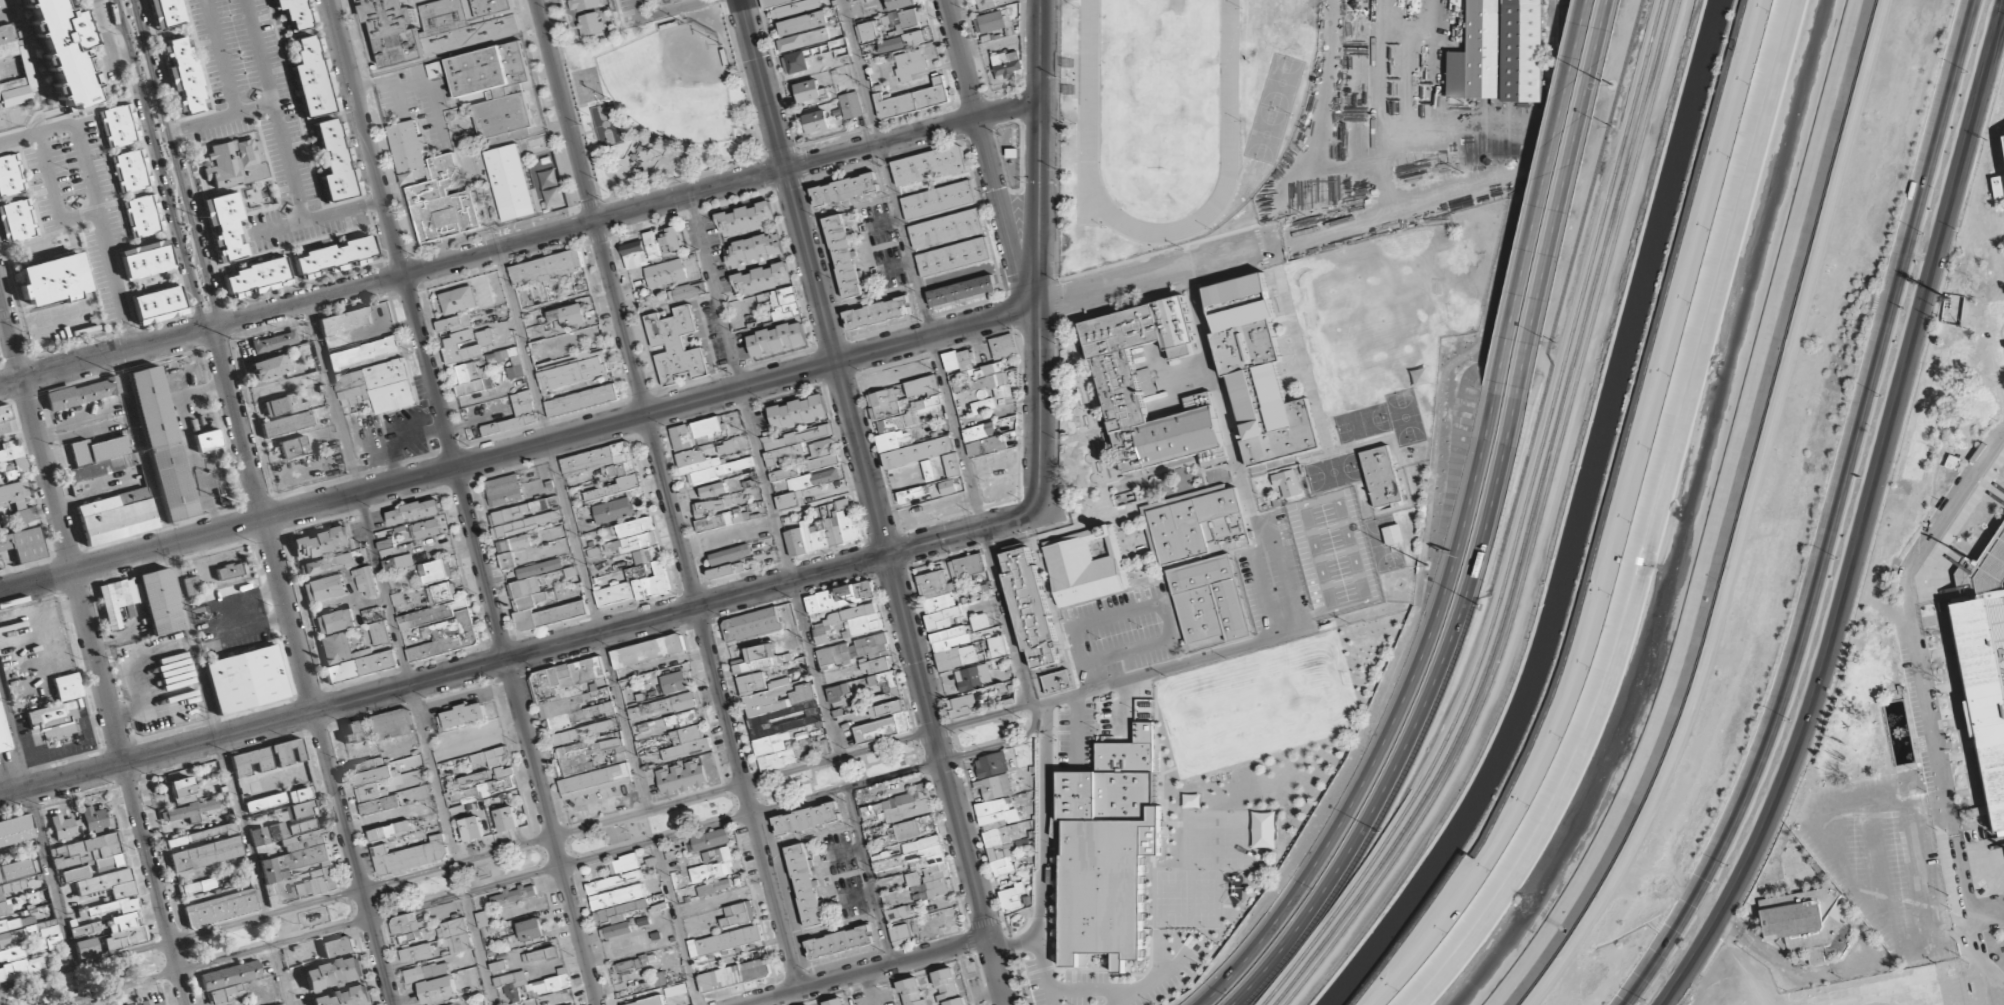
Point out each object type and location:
building: (582, 4)
building: (983, 4)
building: (789, 6)
road: (672, 8)
building: (166, 12)
building: (295, 13)
building: (1477, 18)
building: (902, 19)
building: (991, 21)
building: (804, 22)
building: (590, 23)
building: (437, 25)
building: (867, 31)
building: (803, 39)
road: (1578, 40)
building: (902, 41)
road: (1602, 41)
building: (65, 49)
building: (909, 64)
building: (13, 68)
building: (435, 70)
building: (182, 74)
building: (312, 78)
park: (1157, 83)
building: (494, 89)
building: (807, 90)
building: (910, 98)
park: (661, 102)
parking lot: (419, 103)
building: (849, 104)
park: (1273, 107)
parking lot: (261, 118)
building: (816, 120)
building: (119, 125)
road: (986, 154)
building: (235, 161)
building: (335, 162)
road: (176, 163)
building: (928, 164)
road: (160, 165)
building: (130, 170)
building: (10, 174)
building: (510, 182)
building: (433, 187)
building: (844, 189)
building: (938, 199)
parking lot: (82, 211)
road: (624, 211)
building: (141, 215)
building: (744, 216)
building: (17, 220)
building: (224, 225)
building: (944, 228)
road: (1532, 237)
road: (1555, 239)
building: (670, 240)
building: (652, 246)
building: (752, 248)
road: (1245, 249)
building: (332, 253)
road: (1039, 253)
building: (635, 254)
building: (843, 255)
building: (952, 255)
building: (145, 258)
road: (910, 263)
building: (546, 267)
building: (665, 272)
building: (255, 276)
building: (761, 277)
road: (813, 277)
building: (53, 279)
building: (962, 289)
building: (687, 290)
building: (458, 300)
building: (783, 303)
building: (157, 304)
building: (877, 312)
road: (8, 313)
building: (567, 316)
building: (344, 321)
building: (777, 337)
building: (463, 338)
building: (274, 341)
building: (675, 344)
building: (1002, 345)
building: (365, 352)
road: (105, 358)
building: (508, 360)
building: (268, 367)
building: (575, 368)
building: (978, 372)
building: (1258, 372)
building: (386, 373)
building: (473, 379)
building: (1147, 385)
building: (81, 392)
building: (923, 392)
building: (392, 396)
building: (580, 400)
building: (522, 404)
building: (982, 405)
building: (276, 407)
building: (798, 412)
building: (5, 418)
building: (289, 423)
parking lot: (406, 430)
building: (693, 432)
building: (795, 436)
building: (983, 439)
building: (207, 440)
building: (161, 442)
building: (293, 446)
road: (519, 447)
building: (726, 447)
building: (782, 453)
building: (822, 454)
building: (13, 455)
building: (98, 458)
building: (951, 464)
building: (710, 465)
building: (606, 468)
building: (928, 470)
building: (783, 473)
road: (762, 475)
building: (812, 479)
building: (1286, 483)
building: (947, 486)
building: (504, 489)
building: (712, 490)
road: (666, 493)
building: (913, 493)
road: (1996, 493)
building: (789, 499)
building: (18, 501)
road: (462, 502)
building: (710, 506)
building: (614, 510)
building: (414, 511)
building: (517, 512)
road: (1862, 515)
building: (115, 516)
road: (1830, 516)
road: (1748, 519)
building: (719, 520)
building: (1195, 524)
river: (1689, 525)
building: (635, 526)
building: (830, 526)
railway: (1539, 526)
railway: (1529, 527)
building: (425, 528)
road: (571, 528)
road: (963, 532)
building: (795, 542)
building: (320, 543)
building: (513, 543)
building: (634, 543)
building: (24, 544)
building: (385, 544)
building: (730, 554)
building: (507, 559)
road: (1963, 559)
building: (399, 562)
building: (327, 563)
building: (1087, 565)
building: (540, 568)
building: (435, 570)
building: (726, 570)
building: (230, 571)
road: (382, 580)
building: (367, 581)
building: (967, 581)
building: (192, 585)
building: (635, 586)
building: (325, 587)
building: (946, 590)
road: (1953, 592)
building: (840, 596)
building: (1208, 599)
building: (160, 601)
building: (1030, 606)
building: (571, 607)
road: (1006, 615)
building: (333, 621)
building: (850, 621)
building: (979, 621)
building: (751, 624)
building: (380, 633)
road: (190, 635)
building: (997, 646)
road: (91, 648)
building: (953, 648)
building: (648, 650)
building: (761, 658)
building: (352, 659)
building: (875, 665)
road: (301, 666)
road: (1944, 670)
road: (1920, 672)
stadium: (1986, 673)
road: (444, 674)
building: (973, 677)
building: (245, 679)
building: (1056, 681)
building: (674, 682)
building: (569, 692)
building: (57, 704)
building: (962, 705)
building: (1144, 705)
building: (661, 706)
building: (877, 706)
building: (1983, 707)
building: (811, 715)
building: (461, 716)
building: (674, 720)
building: (759, 721)
road: (1419, 721)
road: (1393, 723)
building: (379, 727)
building: (585, 731)
building: (4, 735)
fountain: (1901, 736)
building: (687, 742)
building: (287, 752)
building: (491, 756)
building: (590, 756)
building: (251, 761)
building: (991, 764)
building: (681, 777)
road: (946, 779)
building: (595, 781)
building: (499, 782)
building: (373, 786)
building: (994, 786)
building: (181, 790)
building: (469, 794)
building: (265, 802)
building: (298, 805)
building: (909, 810)
building: (187, 811)
building: (807, 818)
building: (93, 819)
building: (506, 819)
road: (1879, 821)
road: (36, 826)
building: (915, 827)
building: (63, 828)
building: (471, 828)
building: (14, 829)
building: (390, 831)
building: (999, 834)
building: (259, 836)
building: (710, 839)
road: (1990, 842)
road: (516, 845)
building: (1107, 846)
road: (1816, 846)
road: (1845, 848)
building: (1984, 849)
building: (89, 852)
parking lot: (839, 852)
building: (206, 854)
building: (410, 855)
building: (298, 859)
parking lot: (1882, 863)
building: (624, 864)
building: (713, 865)
road: (554, 866)
building: (926, 867)
building: (14, 869)
road: (1884, 872)
road: (868, 873)
building: (73, 874)
building: (614, 881)
road: (1925, 883)
building: (805, 885)
building: (196, 886)
building: (714, 887)
building: (514, 894)
building: (617, 896)
parking lot: (851, 896)
building: (1011, 897)
building: (3, 903)
building: (115, 908)
building: (220, 908)
building: (617, 912)
building: (898, 912)
building: (737, 915)
building: (1791, 919)
building: (16, 922)
road: (675, 922)
building: (403, 924)
building: (86, 929)
building: (531, 929)
building: (615, 930)
building: (899, 934)
building: (455, 935)
building: (11, 936)
building: (725, 940)
building: (839, 941)
building: (338, 947)
building: (86, 948)
road: (477, 948)
road: (1977, 952)
building: (11, 953)
building: (414, 953)
building: (539, 955)
building: (632, 964)
road: (1718, 967)
road: (1731, 967)
building: (21, 968)
road: (862, 968)
building: (426, 971)
building: (332, 973)
road: (280, 974)
building: (734, 974)
road: (1826, 975)
building: (510, 979)
building: (227, 980)
building: (551, 984)
building: (946, 988)
building: (438, 989)
building: (911, 992)
road: (1874, 992)
road: (1765, 994)
building: (344, 998)
road: (83, 1000)
building: (835, 1001)
road: (1974, 1001)
building: (150, 1002)
building: (645, 1002)
building: (282, 1004)

